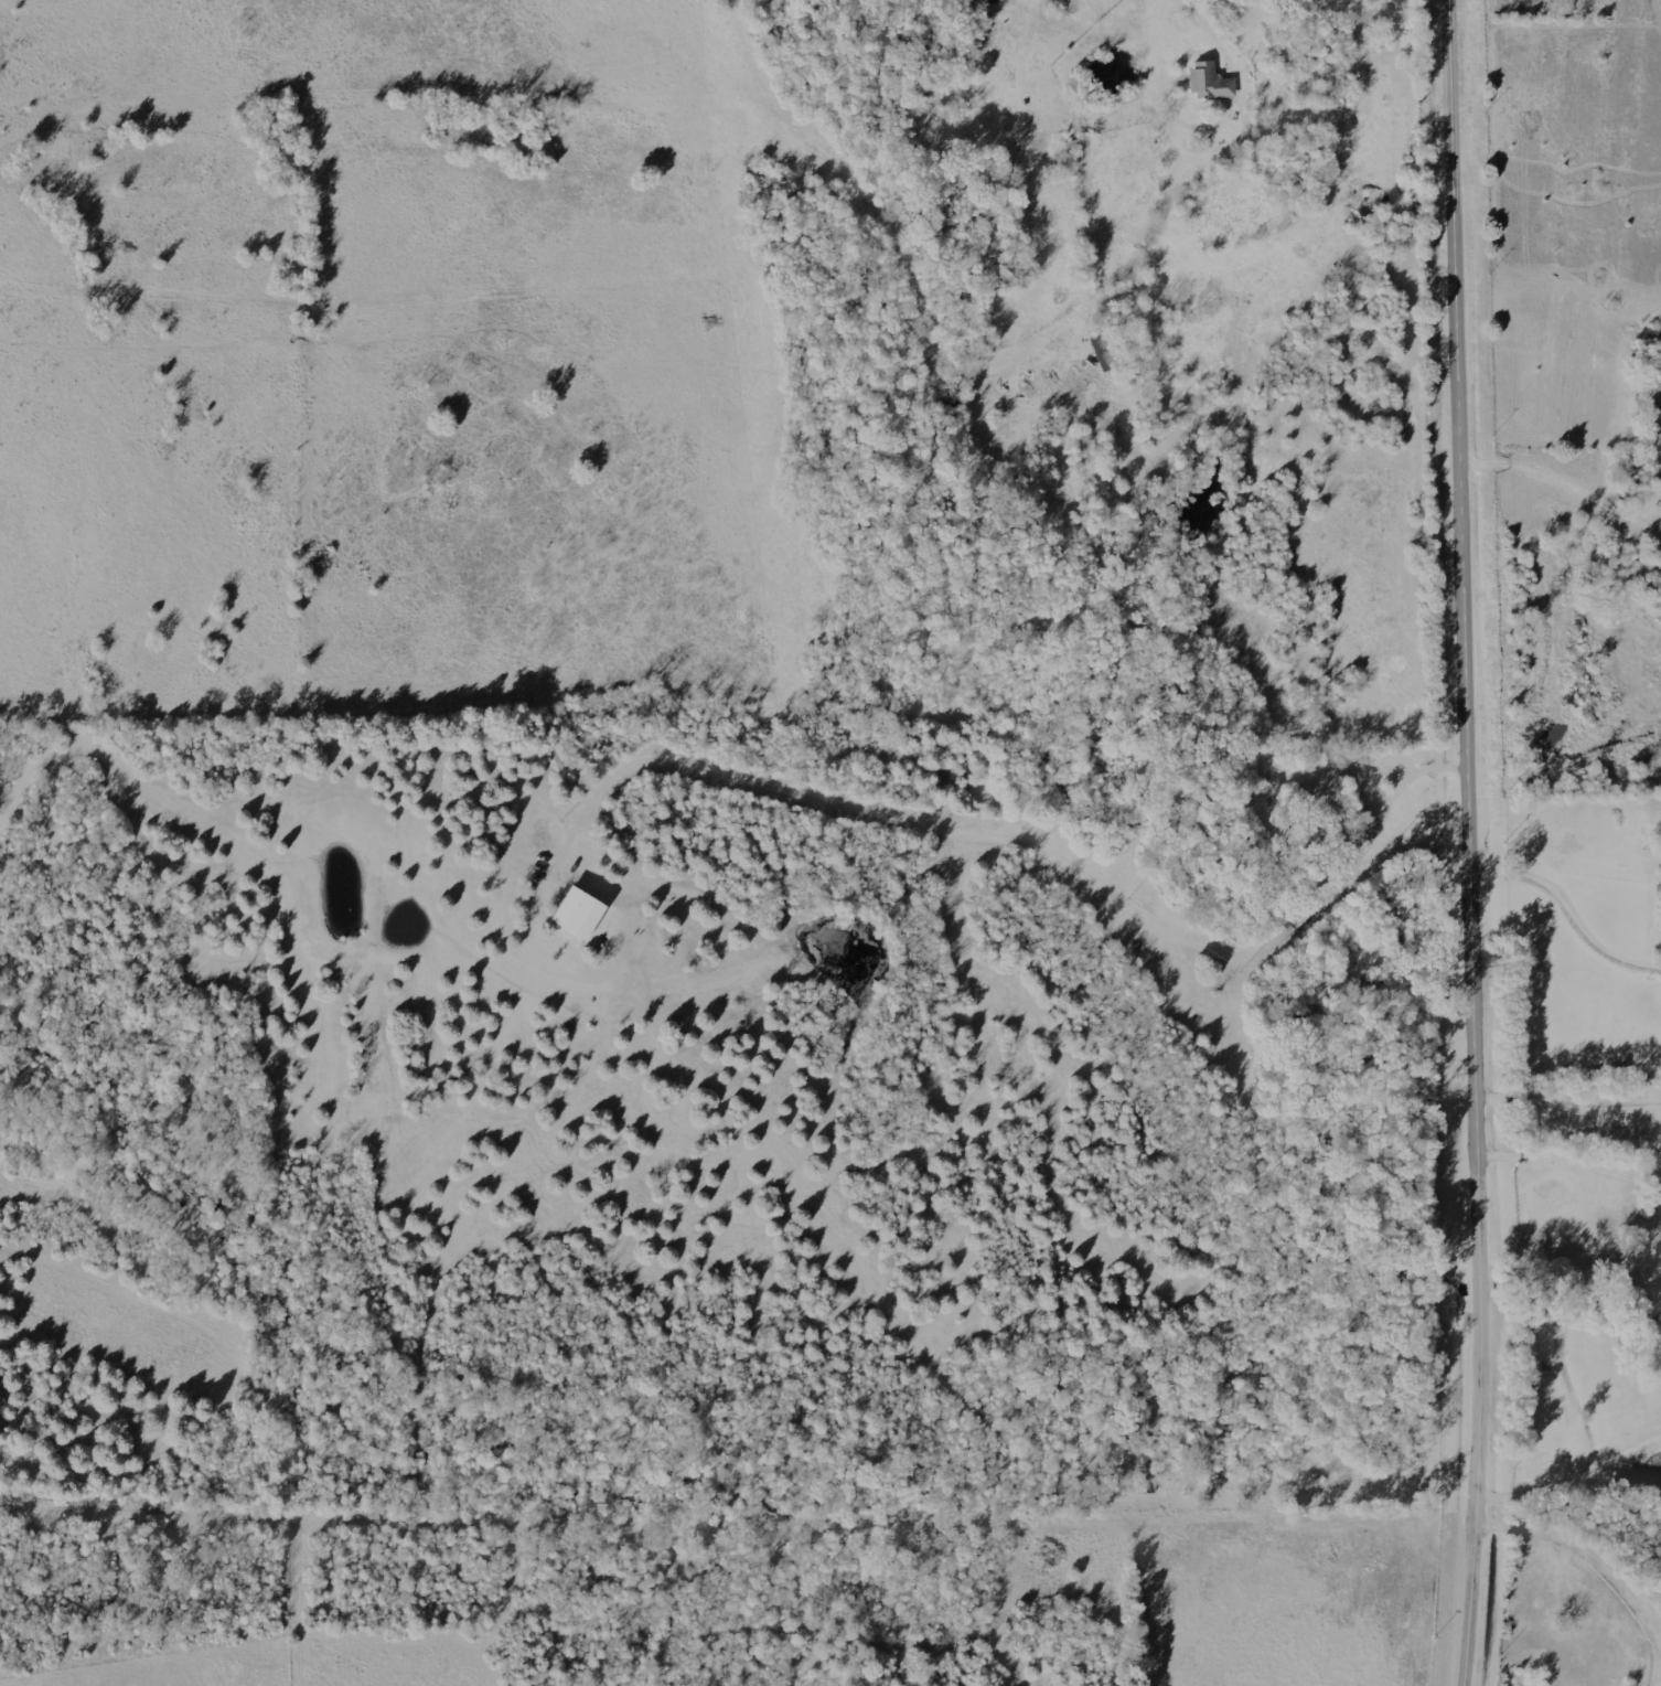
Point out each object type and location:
road: (1159, 42)
building: (1204, 85)
building: (1103, 355)
road: (1478, 843)
road: (1040, 846)
road: (1573, 904)
building: (581, 914)
road: (1572, 1108)
road: (1574, 1148)
road: (1574, 1473)
road: (1589, 1557)

